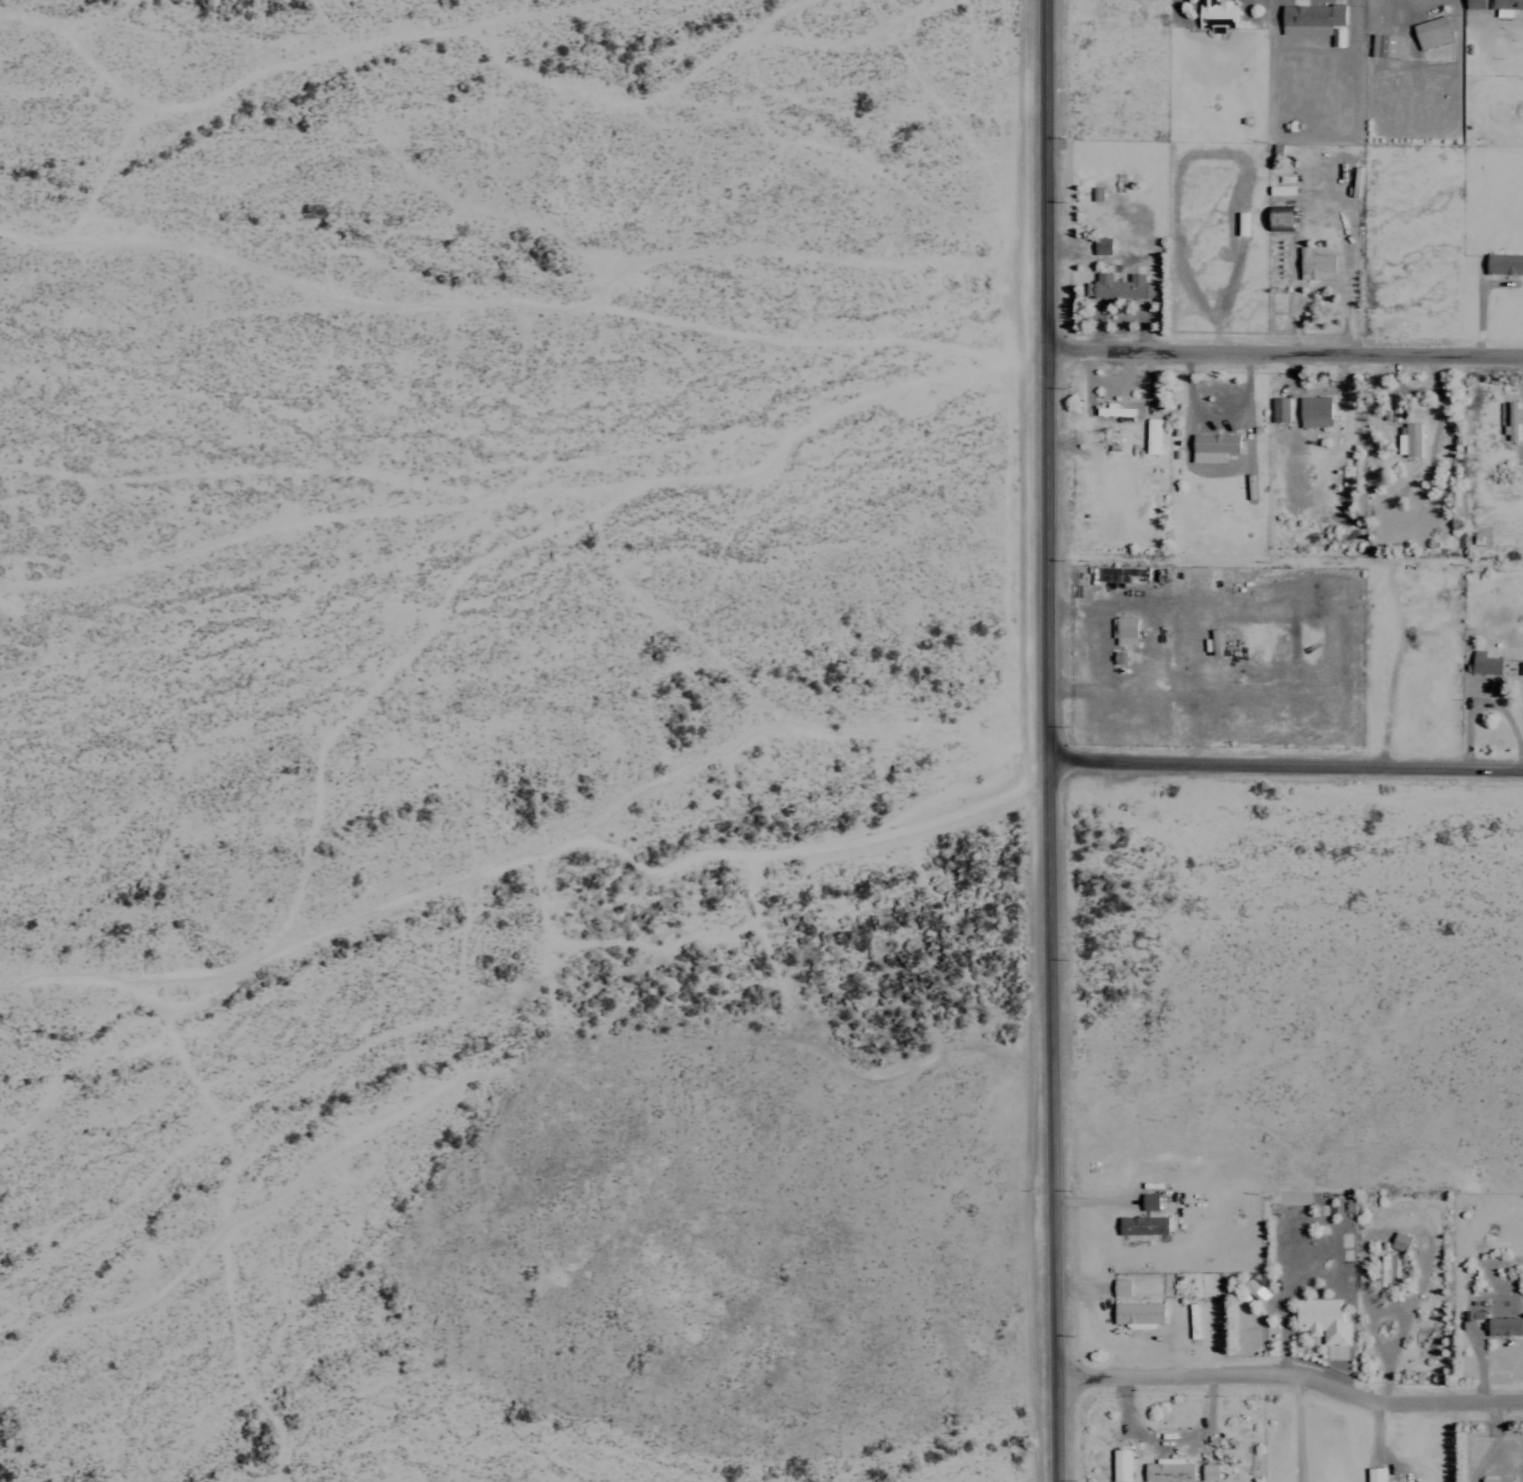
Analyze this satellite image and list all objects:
building: (1473, 3)
building: (1504, 6)
building: (1215, 14)
building: (1309, 18)
building: (1430, 32)
building: (1386, 45)
building: (1280, 189)
building: (1278, 217)
building: (1101, 245)
building: (1503, 264)
building: (1314, 265)
building: (1118, 286)
road: (1283, 348)
building: (1278, 409)
building: (1113, 410)
building: (1313, 411)
building: (1511, 420)
building: (1153, 435)
building: (1410, 439)
building: (1211, 446)
road: (1044, 526)
building: (1124, 630)
building: (1229, 655)
building: (1118, 657)
building: (1483, 663)
building: (1180, 726)
road: (1283, 761)
building: (1147, 1201)
building: (1141, 1225)
building: (1398, 1242)
road: (1052, 1266)
building: (1386, 1273)
building: (1249, 1286)
building: (1120, 1287)
building: (1137, 1314)
building: (1320, 1320)
building: (1502, 1326)
road: (1290, 1372)
building: (1119, 1465)
building: (1167, 1470)
building: (1208, 1472)
building: (1374, 1475)
building: (1494, 1480)

